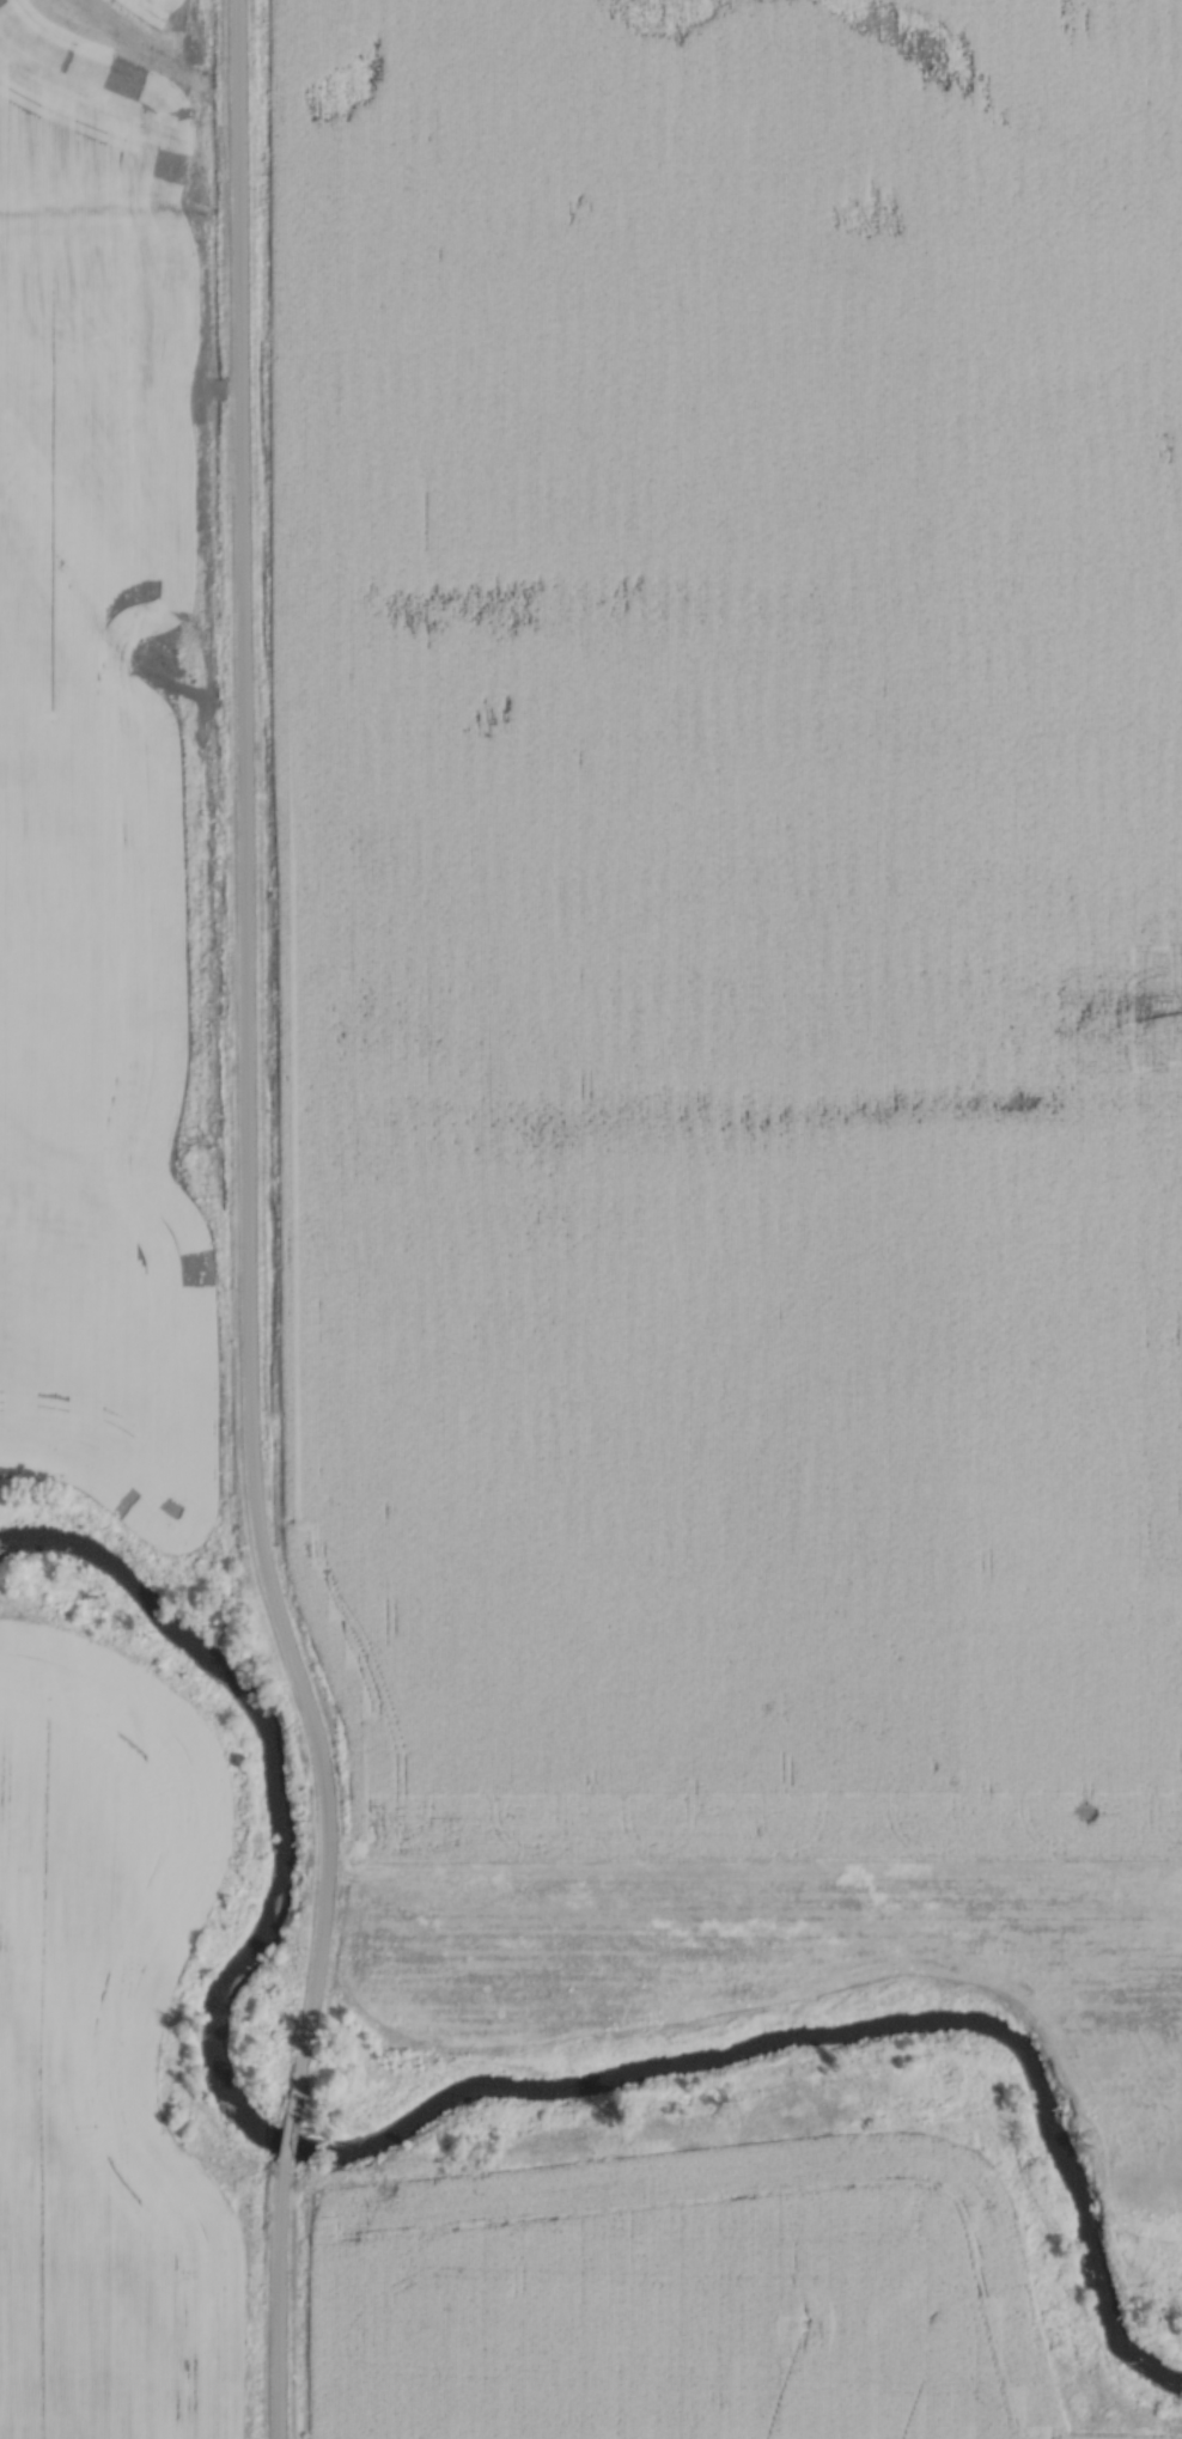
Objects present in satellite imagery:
road: (249, 1043)
river: (444, 2096)
road: (291, 2122)
road: (279, 2301)

